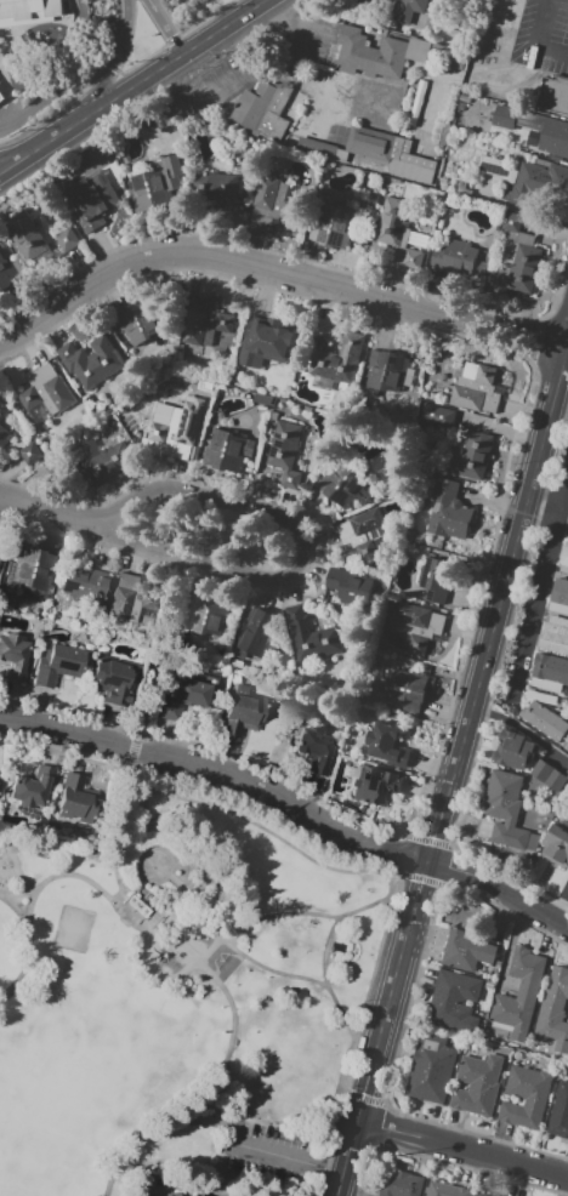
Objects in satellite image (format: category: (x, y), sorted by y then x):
building: (405, 10)
building: (28, 11)
road: (166, 25)
parking lot: (543, 35)
building: (374, 39)
road: (536, 39)
building: (365, 51)
building: (454, 52)
road: (121, 57)
road: (144, 76)
road: (64, 80)
building: (2, 93)
building: (553, 95)
building: (261, 110)
building: (535, 127)
building: (379, 154)
road: (13, 155)
road: (13, 163)
building: (495, 170)
building: (538, 181)
building: (155, 186)
building: (222, 187)
building: (271, 200)
building: (89, 205)
building: (331, 226)
building: (397, 233)
building: (35, 241)
building: (519, 257)
building: (459, 258)
building: (10, 273)
road: (273, 274)
building: (205, 321)
building: (138, 323)
building: (322, 334)
building: (265, 342)
building: (45, 349)
building: (95, 360)
building: (335, 363)
building: (56, 366)
building: (385, 371)
building: (476, 388)
building: (46, 395)
building: (437, 416)
building: (178, 431)
building: (4, 437)
building: (228, 450)
building: (475, 452)
building: (30, 454)
building: (286, 455)
building: (103, 462)
building: (340, 483)
road: (547, 497)
road: (46, 507)
building: (448, 511)
road: (545, 520)
building: (362, 535)
road: (297, 545)
building: (564, 560)
building: (33, 568)
building: (433, 580)
building: (84, 581)
road: (539, 581)
building: (350, 586)
road: (501, 597)
building: (560, 597)
building: (134, 602)
building: (208, 614)
building: (418, 626)
building: (256, 633)
building: (553, 634)
building: (309, 638)
road: (152, 650)
building: (12, 655)
building: (57, 665)
building: (549, 672)
building: (110, 679)
building: (405, 691)
building: (184, 697)
building: (242, 712)
building: (545, 716)
building: (387, 745)
building: (566, 746)
building: (316, 747)
building: (512, 750)
road: (218, 771)
building: (549, 776)
building: (376, 786)
building: (32, 787)
building: (76, 798)
building: (506, 811)
road: (147, 827)
building: (556, 845)
road: (498, 890)
road: (558, 904)
building: (137, 905)
road: (16, 910)
road: (192, 912)
road: (250, 922)
road: (30, 941)
building: (466, 951)
road: (194, 952)
building: (498, 964)
road: (393, 975)
building: (489, 984)
building: (519, 993)
park: (183, 998)
building: (454, 1001)
building: (553, 1010)
building: (421, 1069)
building: (477, 1084)
building: (522, 1099)
building: (560, 1111)
road: (352, 1133)
road: (129, 1140)
road: (461, 1147)
parking lot: (272, 1160)
road: (290, 1162)
road: (443, 1162)
building: (401, 1184)
road: (339, 1186)
building: (447, 1190)
building: (172, 1194)
building: (153, 1195)
building: (376, 1195)
building: (483, 1195)

